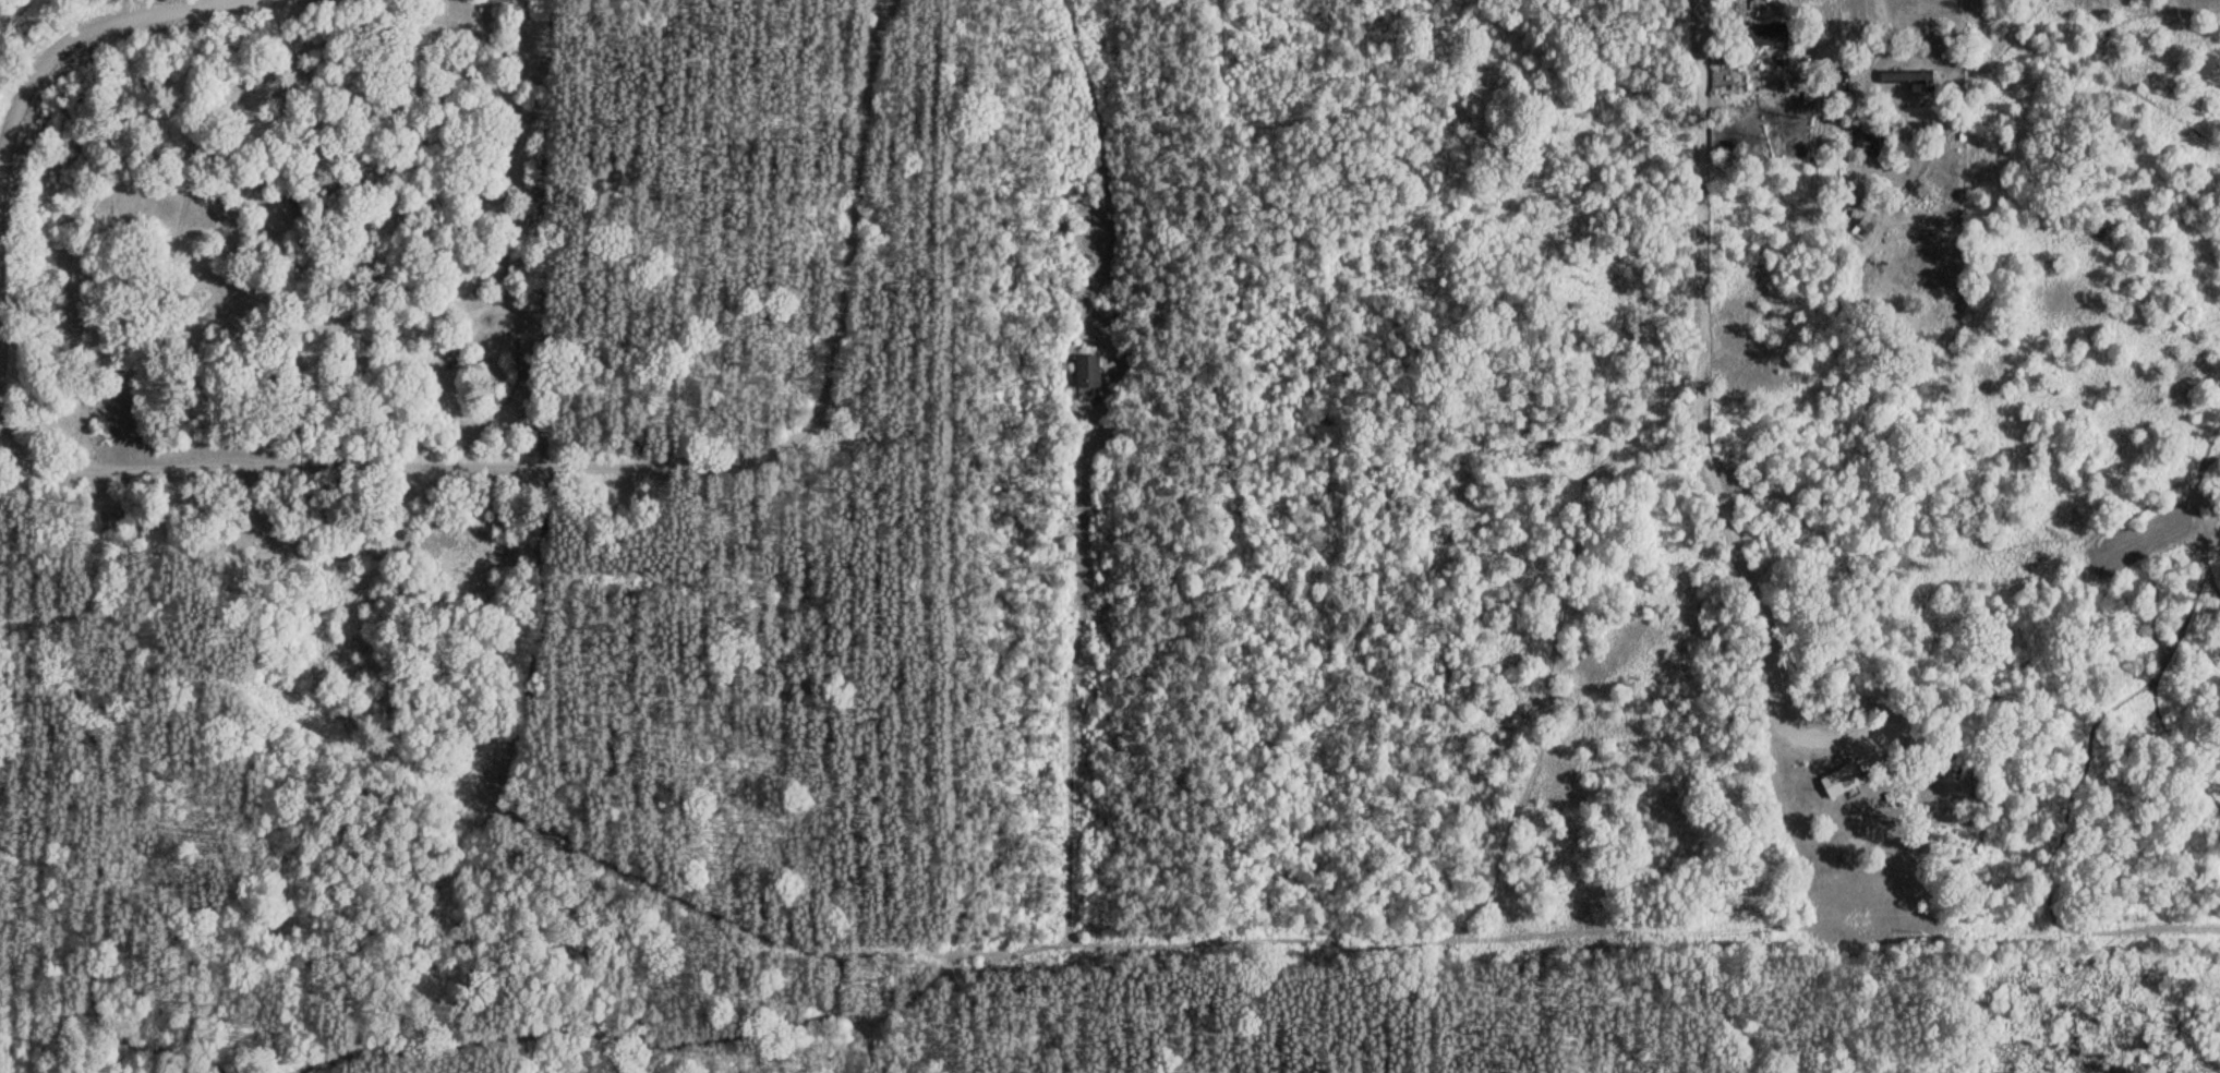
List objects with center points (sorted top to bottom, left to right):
building: (1763, 34)
road: (69, 40)
building: (1903, 75)
building: (1865, 144)
building: (1858, 228)
building: (1084, 371)
road: (599, 408)
building: (1838, 780)

